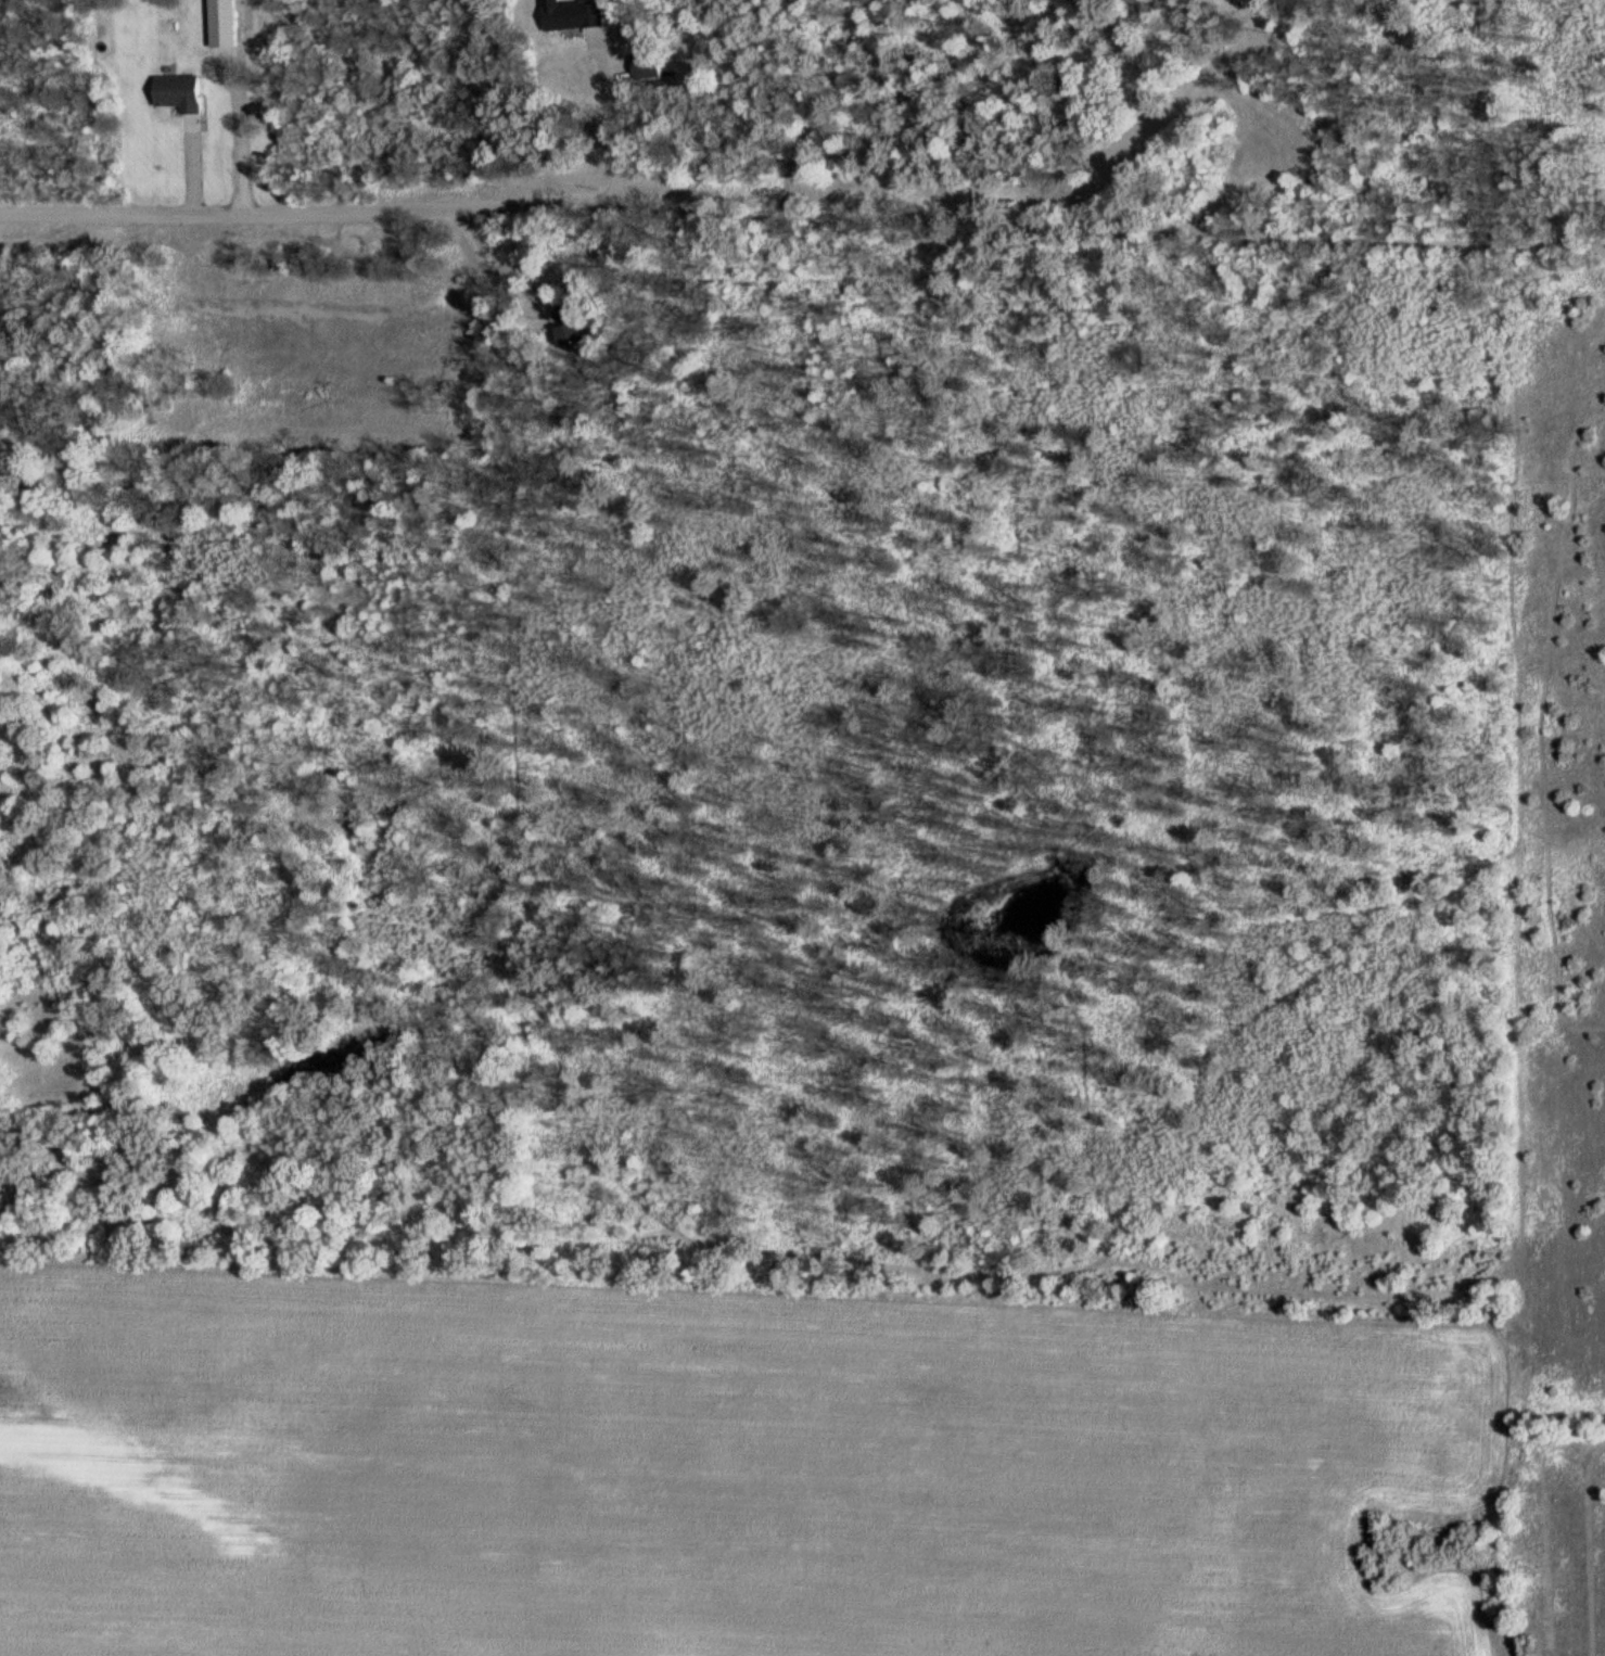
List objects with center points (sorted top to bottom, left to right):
building: (224, 13)
building: (562, 16)
building: (644, 66)
building: (182, 91)
road: (802, 218)
building: (564, 323)

